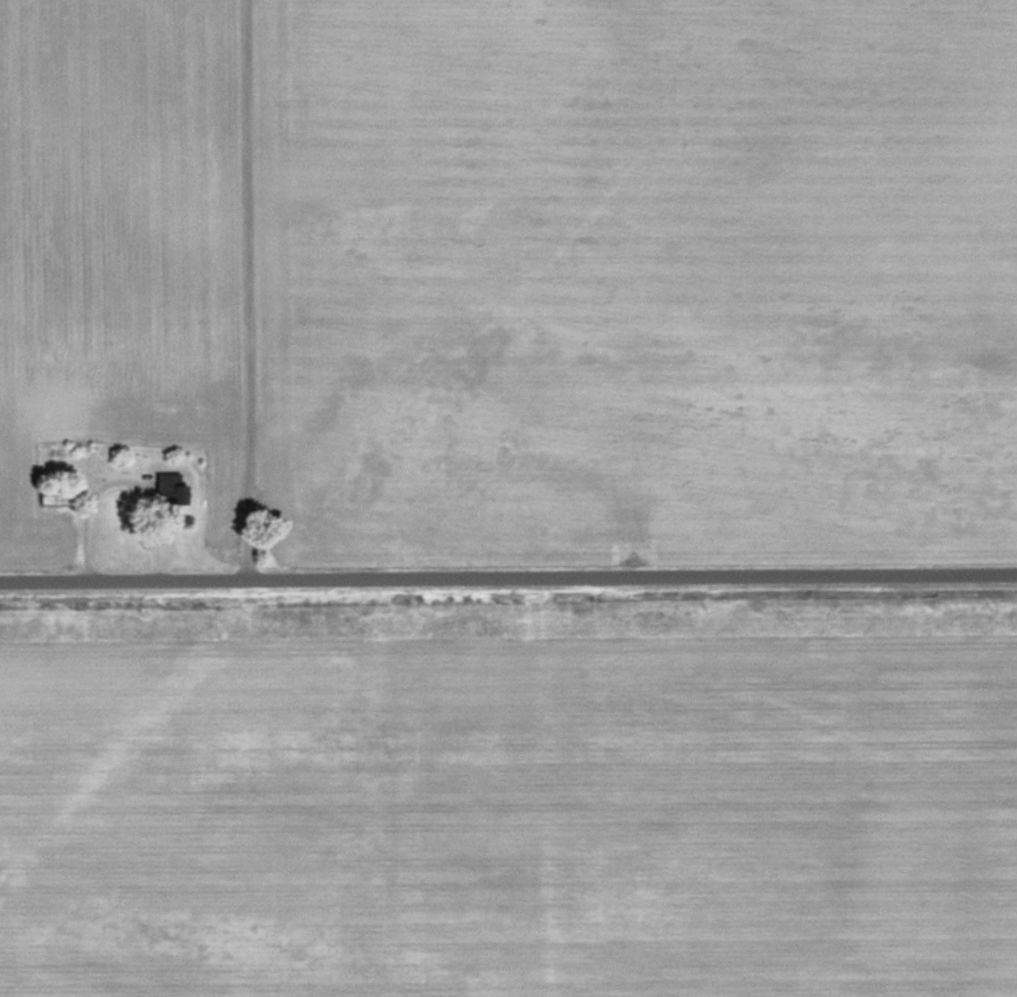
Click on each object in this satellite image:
road: (244, 291)
building: (174, 488)
road: (508, 579)

